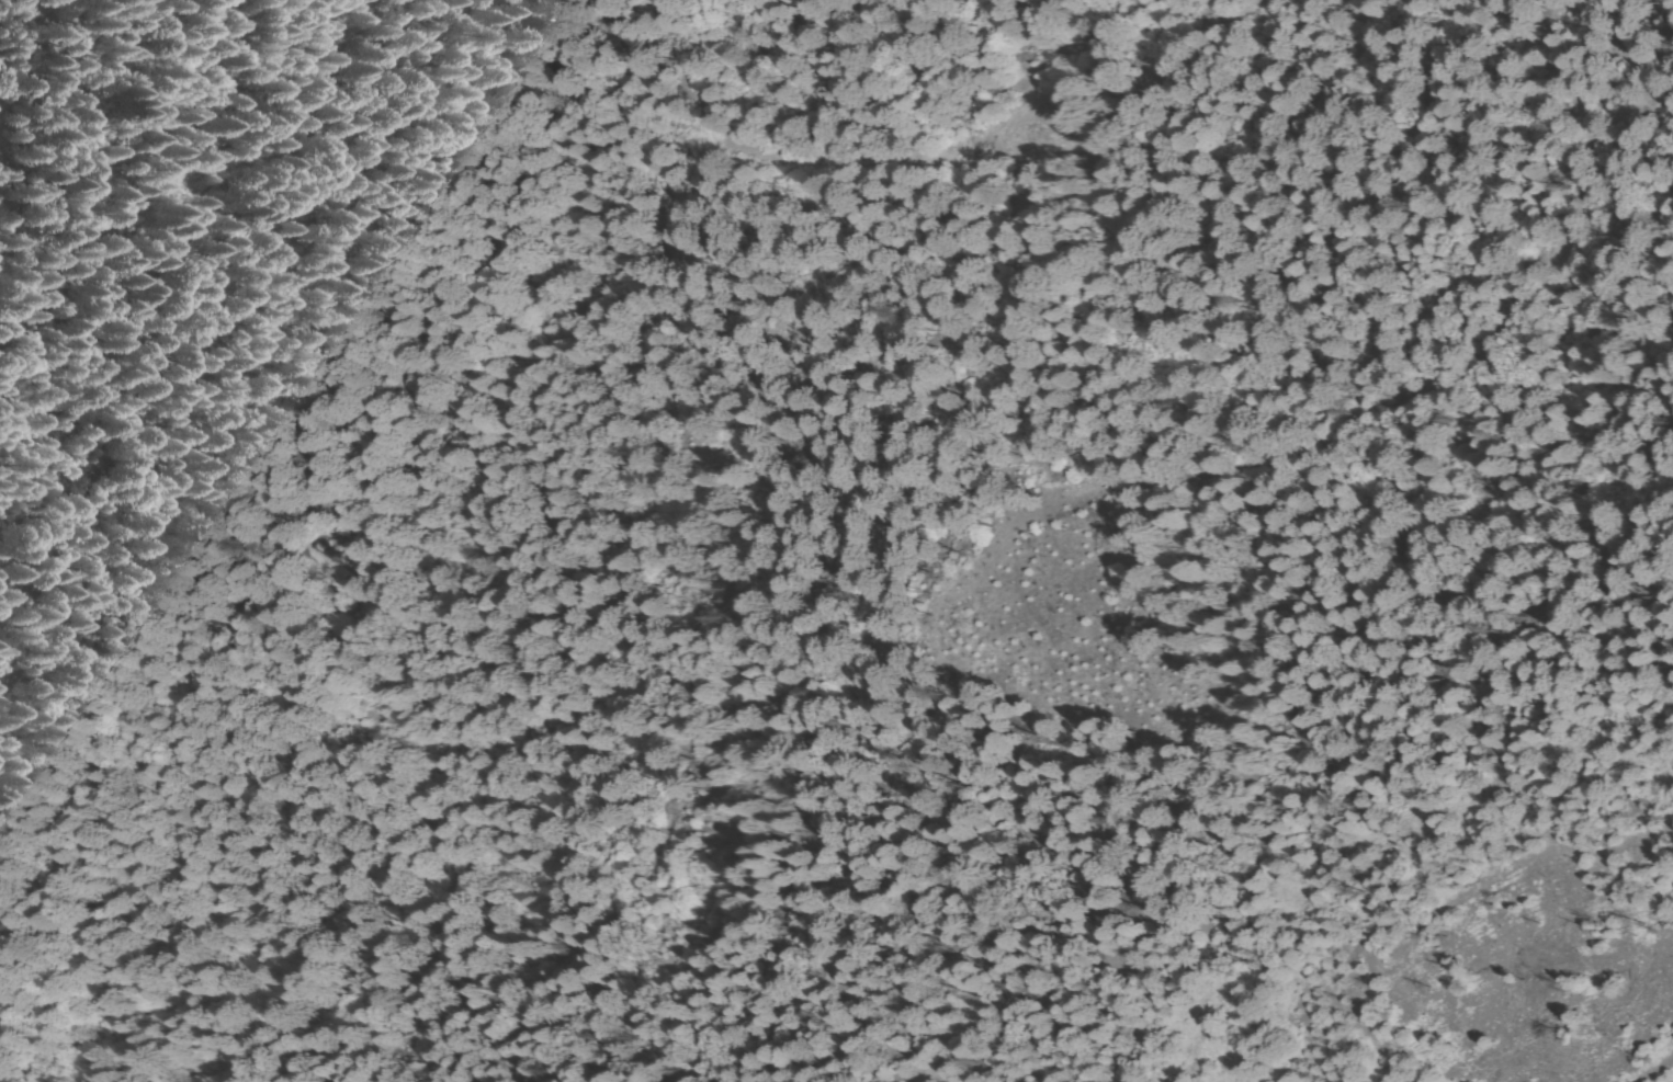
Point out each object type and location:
road: (948, 143)
road: (192, 257)
road: (1565, 257)
road: (1660, 1070)

